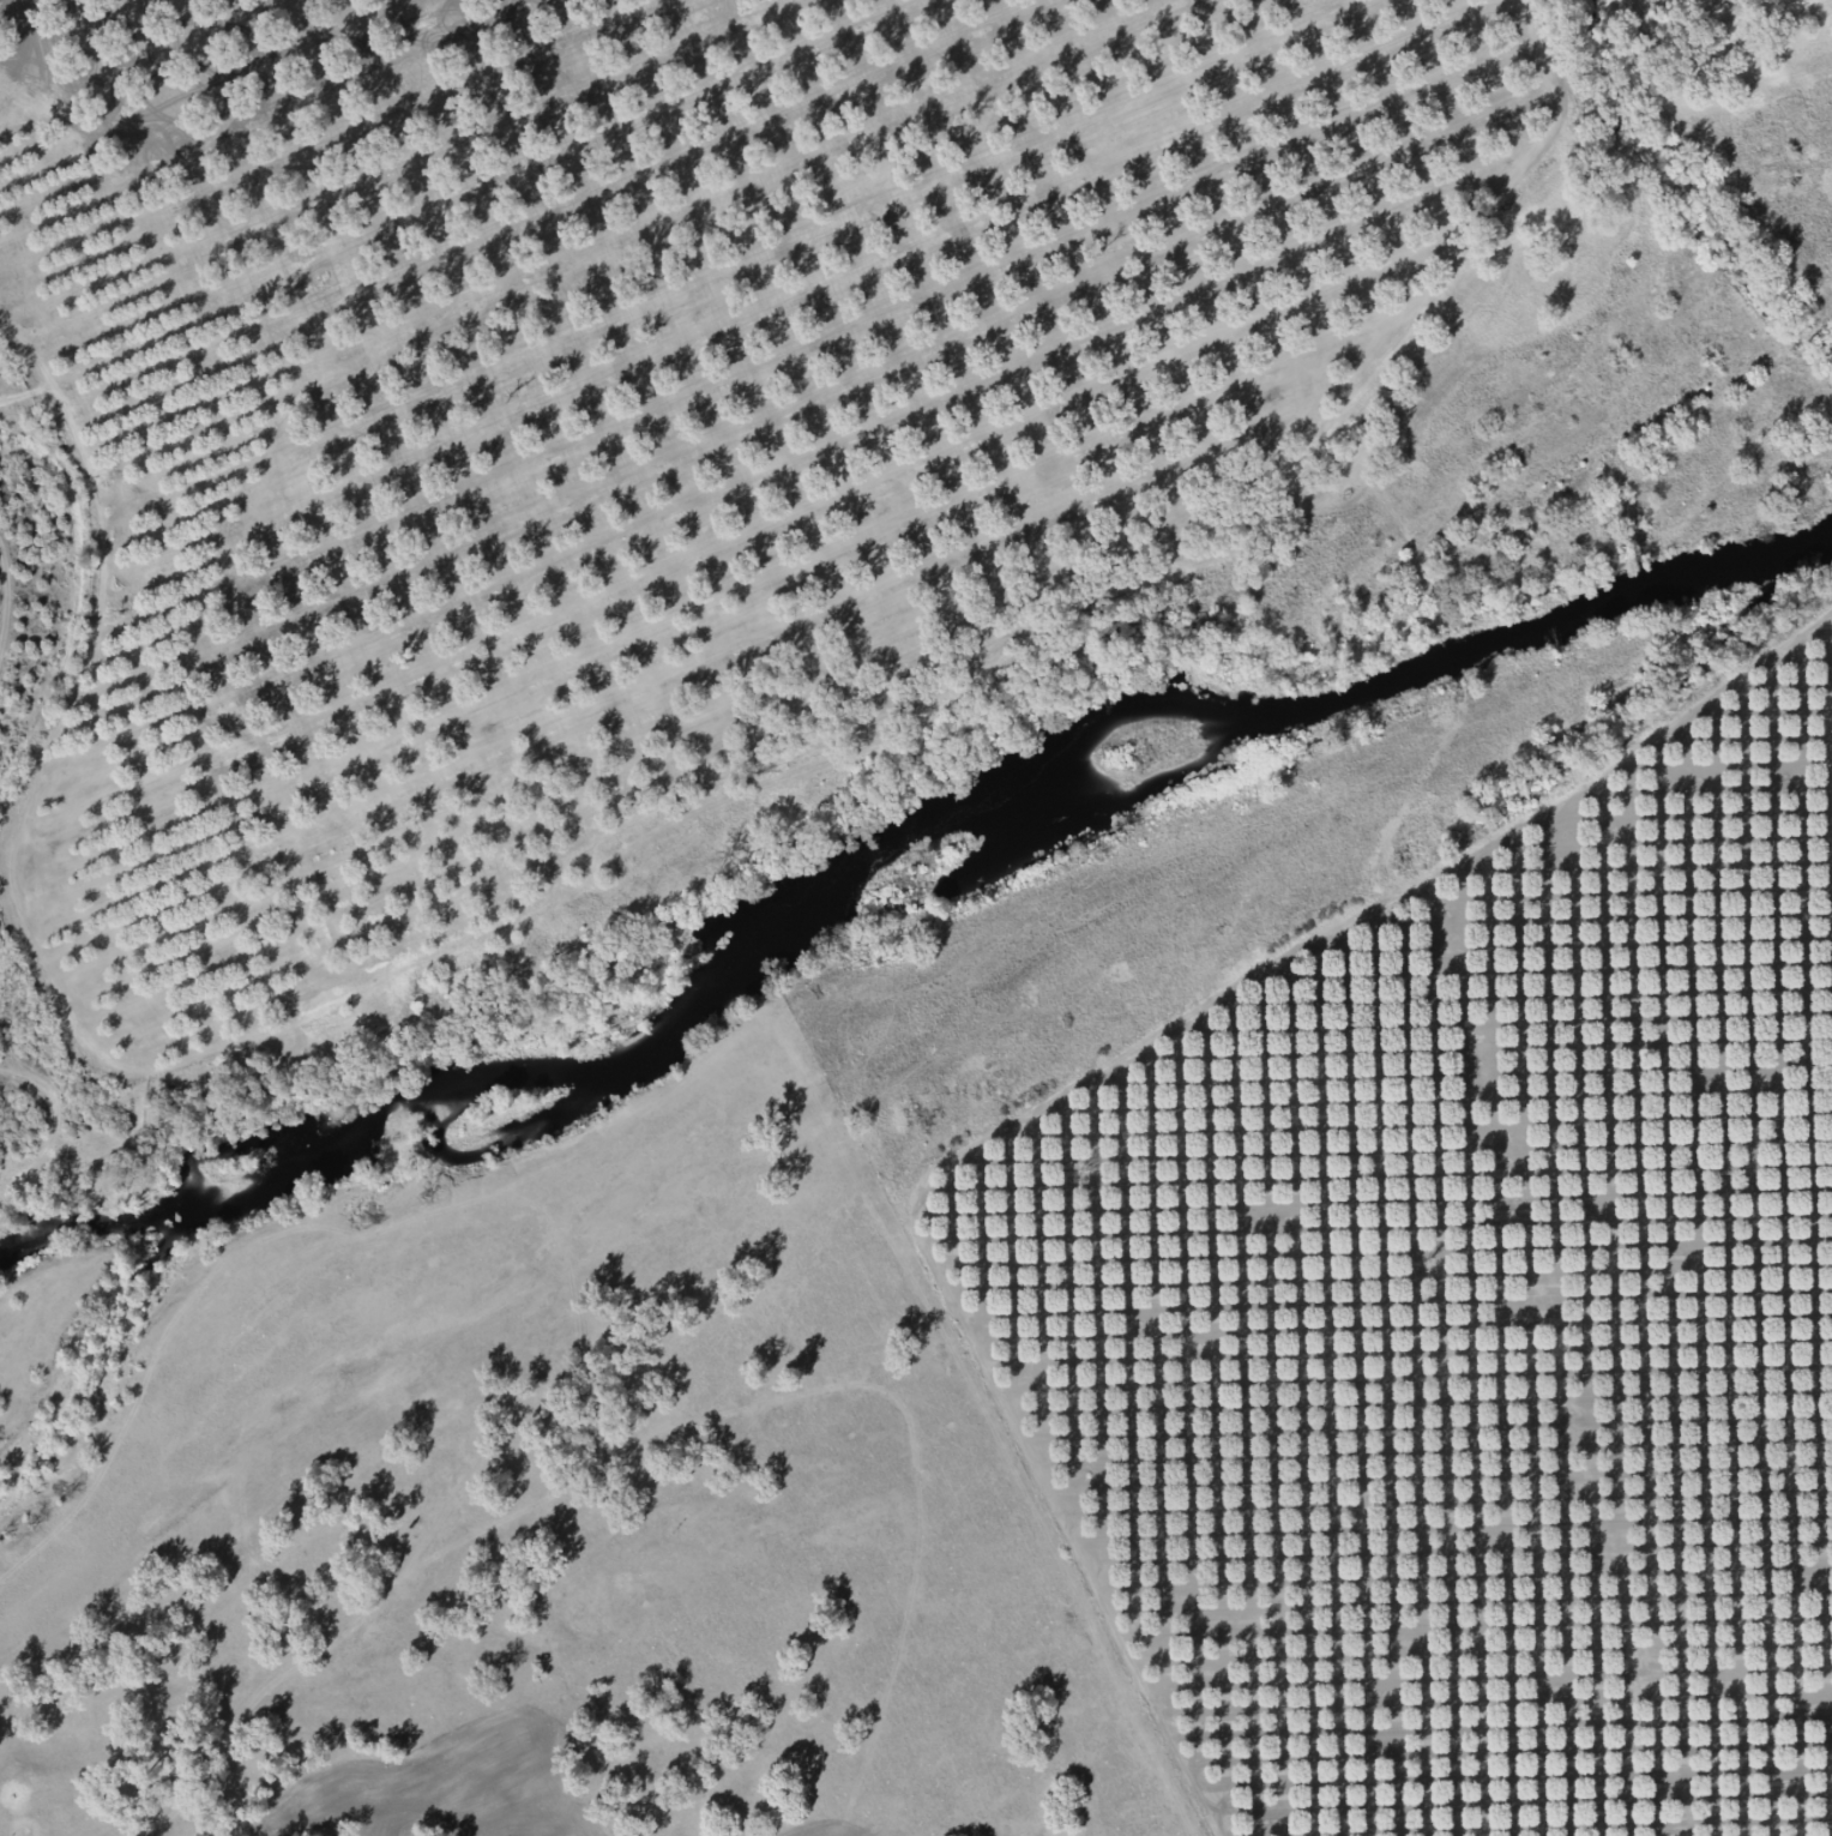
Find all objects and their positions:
road: (126, 775)
river: (898, 874)
road: (674, 1425)

